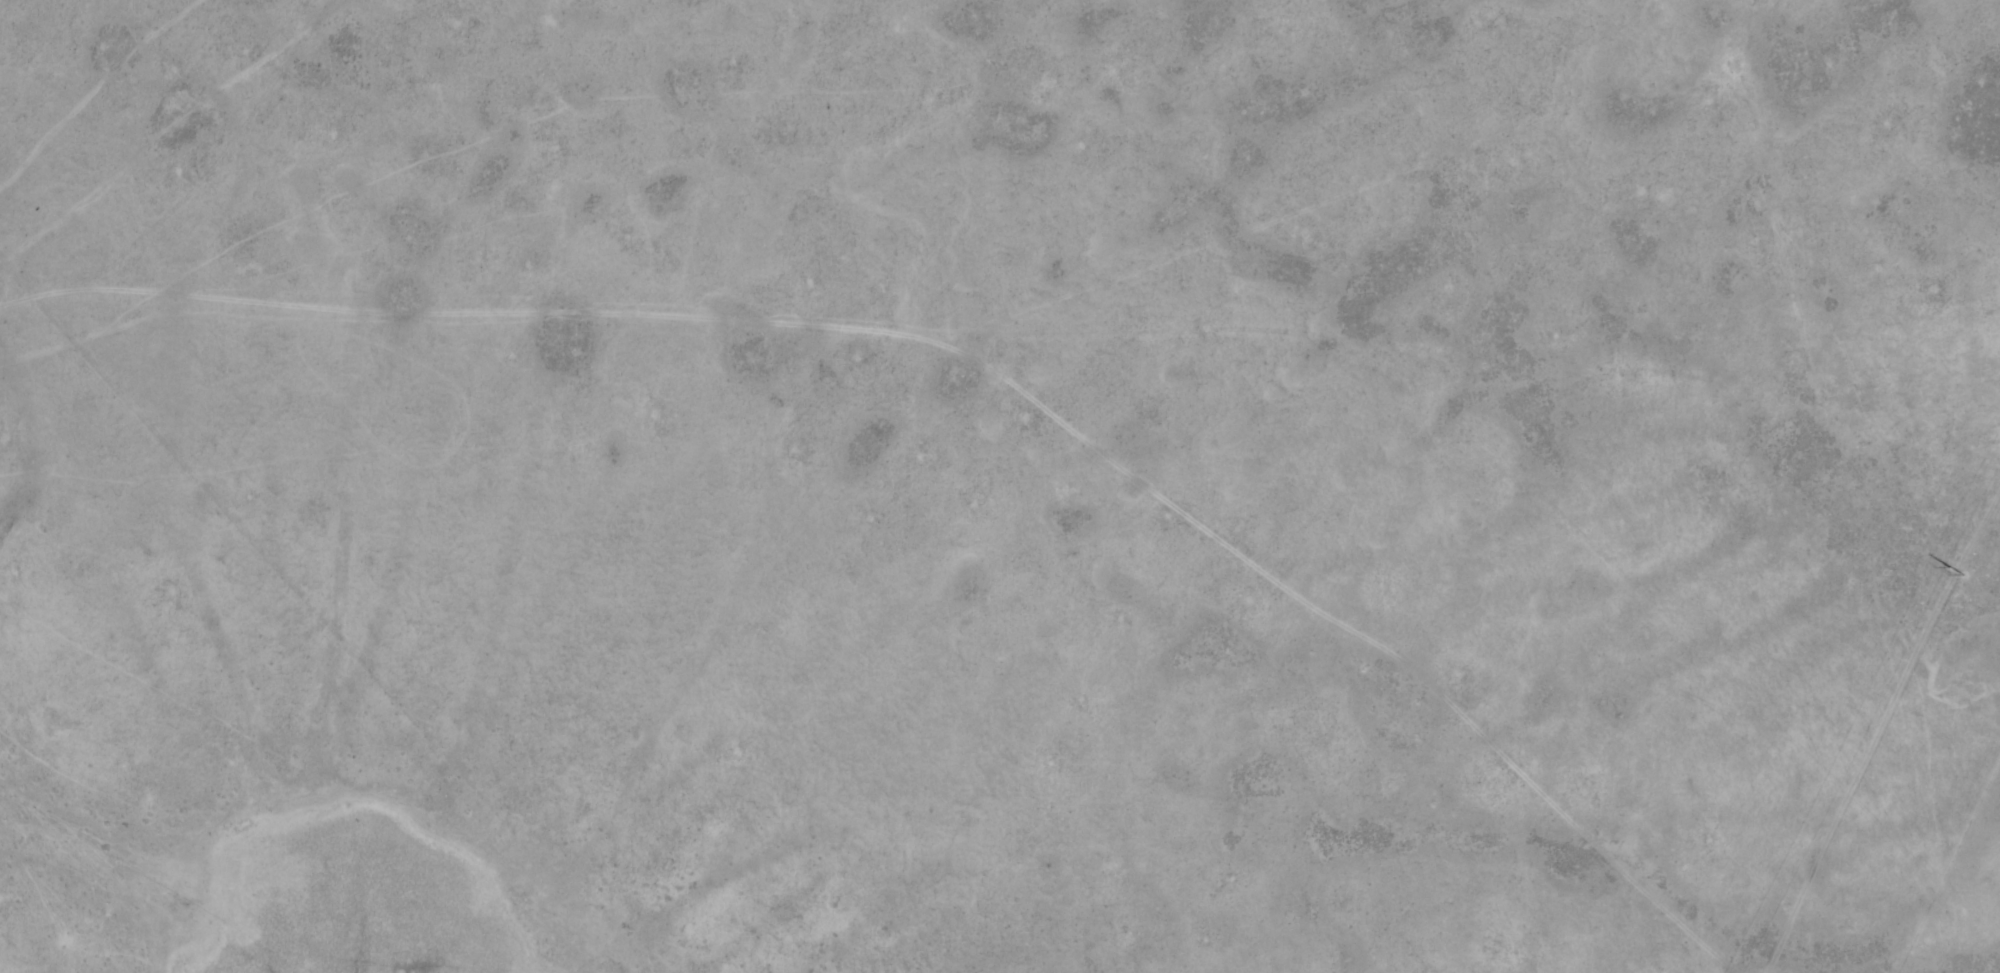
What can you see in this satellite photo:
power tower: (1955, 567)

